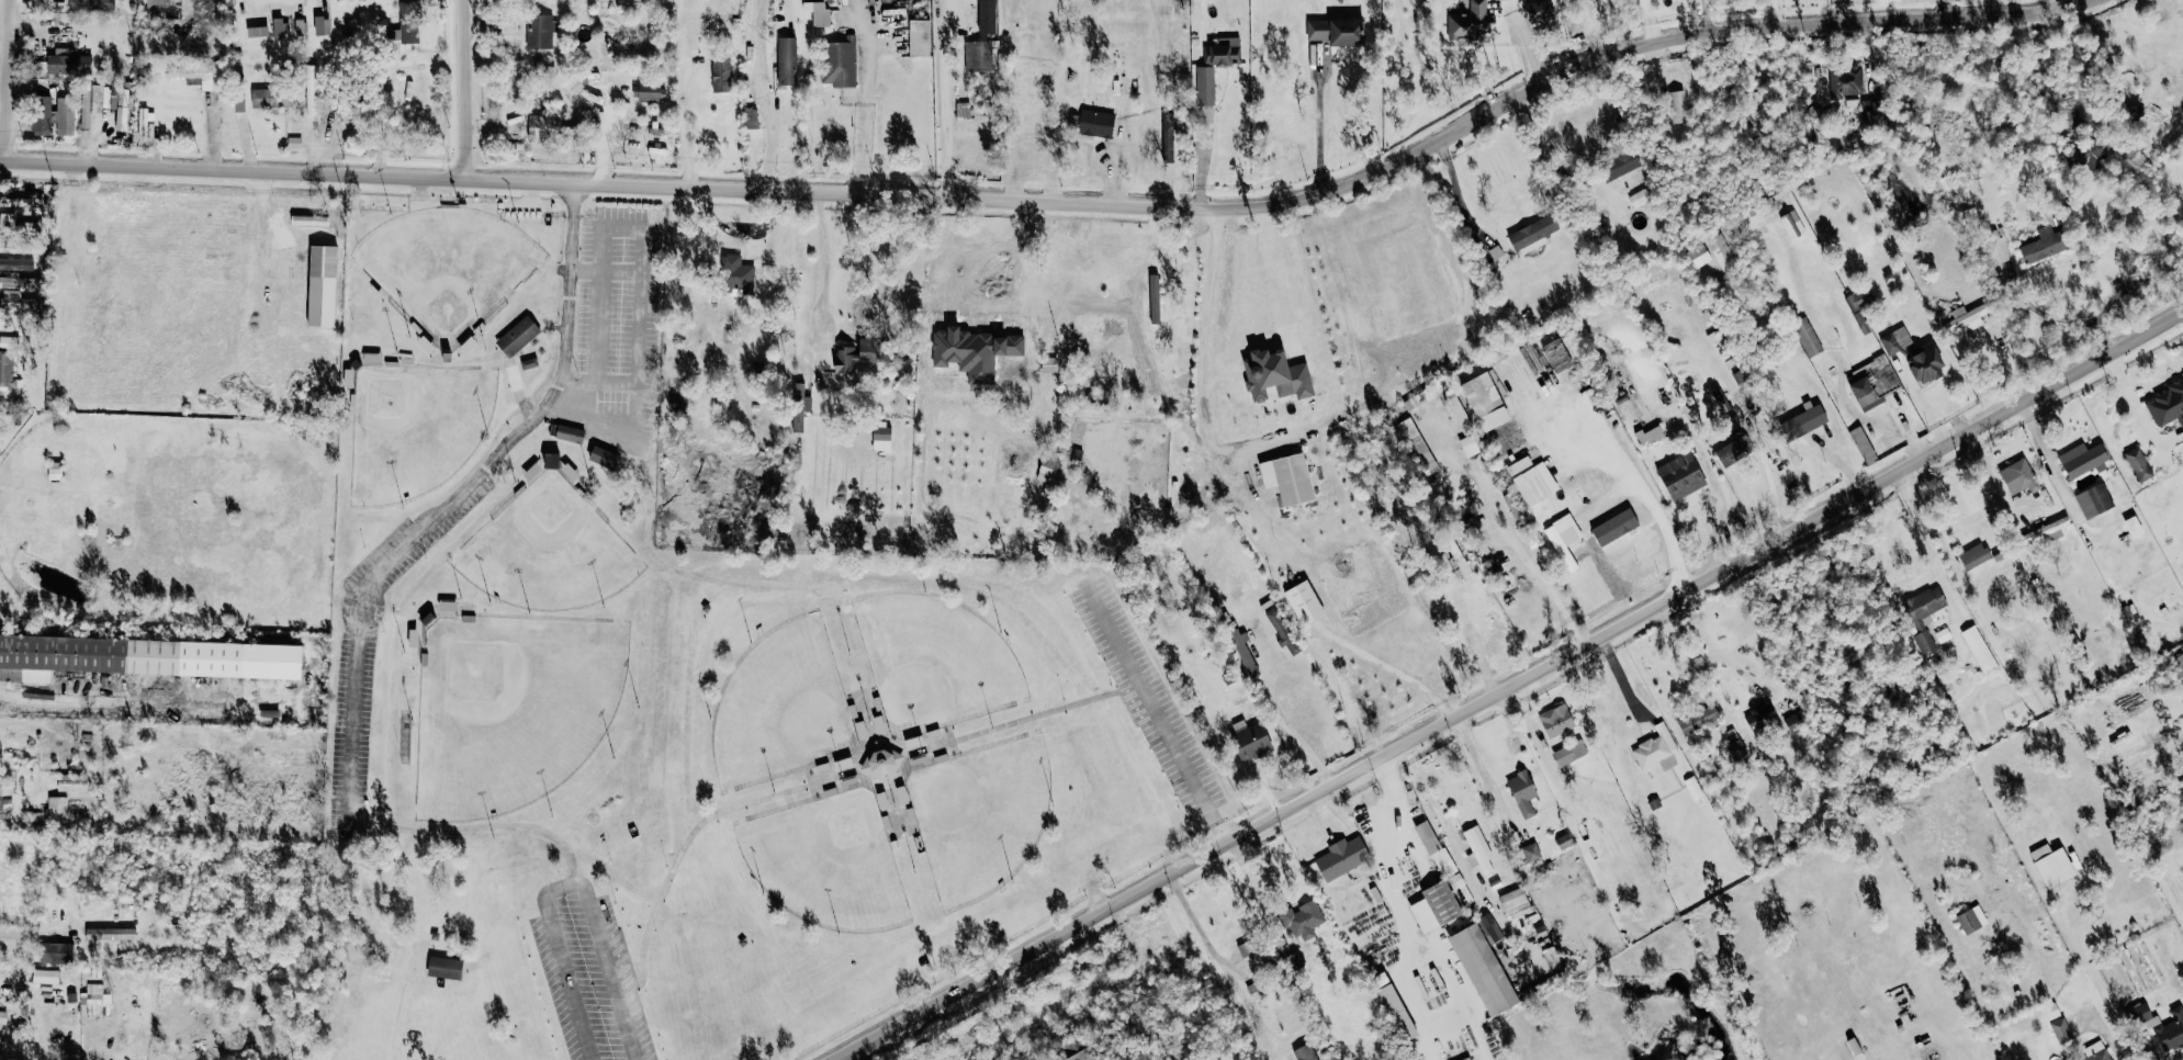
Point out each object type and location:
building: (833, 3)
road: (2055, 3)
building: (92, 4)
building: (162, 9)
building: (1541, 11)
building: (821, 14)
building: (988, 16)
building: (409, 22)
building: (1470, 23)
building: (323, 25)
building: (279, 29)
building: (300, 29)
building: (491, 29)
building: (258, 32)
building: (539, 32)
building: (1338, 32)
building: (920, 37)
road: (1523, 42)
building: (1224, 53)
building: (979, 56)
building: (69, 61)
building: (787, 61)
building: (841, 63)
building: (192, 74)
building: (721, 75)
road: (13, 80)
building: (1846, 81)
building: (1205, 86)
road: (473, 90)
building: (650, 91)
road: (682, 93)
road: (766, 95)
road: (864, 97)
building: (270, 99)
road: (947, 99)
building: (93, 101)
building: (239, 102)
building: (1679, 106)
building: (122, 110)
building: (963, 110)
building: (42, 114)
building: (65, 116)
building: (751, 119)
building: (547, 124)
building: (1096, 124)
road: (1319, 124)
building: (1170, 138)
building: (294, 143)
building: (2095, 153)
road: (1459, 195)
building: (1640, 199)
building: (20, 201)
road: (1067, 202)
building: (19, 224)
road: (572, 224)
building: (1793, 225)
road: (640, 233)
building: (1534, 235)
building: (19, 245)
building: (2045, 246)
road: (823, 247)
building: (1722, 252)
building: (1699, 256)
building: (16, 263)
road: (1270, 266)
building: (734, 269)
building: (21, 282)
road: (1028, 282)
building: (323, 285)
building: (1156, 298)
building: (19, 300)
building: (1860, 306)
building: (1967, 316)
building: (518, 335)
building: (1809, 338)
building: (1893, 340)
road: (565, 341)
building: (854, 354)
building: (1559, 354)
building: (5, 360)
building: (528, 363)
building: (1927, 363)
building: (1049, 364)
road: (1201, 365)
building: (1276, 374)
road: (517, 390)
building: (1865, 391)
building: (1487, 401)
building: (2168, 404)
building: (799, 406)
building: (1725, 406)
building: (1808, 420)
building: (1463, 421)
building: (570, 433)
building: (1651, 435)
building: (1864, 444)
building: (1422, 450)
building: (1734, 450)
building: (605, 456)
building: (2084, 459)
building: (553, 460)
building: (2139, 463)
building: (1520, 464)
building: (1053, 469)
building: (1681, 475)
road: (1710, 476)
building: (2021, 476)
building: (1289, 477)
building: (1537, 483)
building: (2094, 500)
road: (1652, 503)
building: (2048, 529)
building: (855, 532)
building: (1565, 538)
road: (1925, 542)
building: (1974, 556)
building: (1305, 601)
building: (448, 606)
building: (1924, 613)
building: (1283, 630)
building: (1943, 634)
building: (414, 638)
building: (1980, 651)
building: (1246, 655)
building: (144, 657)
building: (2178, 664)
road: (1508, 685)
road: (166, 687)
road: (1155, 712)
building: (1762, 717)
road: (1282, 720)
building: (1557, 720)
building: (1700, 720)
building: (1797, 720)
building: (1251, 740)
building: (1655, 747)
building: (1738, 749)
building: (1571, 753)
building: (72, 782)
building: (1693, 788)
building: (1523, 792)
road: (349, 798)
building: (57, 810)
building: (1564, 841)
building: (1436, 848)
building: (1479, 849)
building: (1531, 853)
building: (1342, 857)
building: (2053, 865)
building: (1516, 903)
building: (1437, 906)
road: (1426, 911)
building: (1973, 918)
building: (1303, 920)
building: (1492, 927)
road: (72, 937)
building: (56, 952)
building: (1256, 957)
building: (1295, 963)
building: (446, 967)
building: (1485, 970)
building: (46, 976)
building: (94, 999)
building: (2139, 1013)
building: (2, 1017)
building: (2061, 1030)
building: (2172, 1030)
road: (2105, 1031)
road: (2150, 1048)
building: (1078, 1050)
building: (2097, 1051)
building: (1306, 1052)

